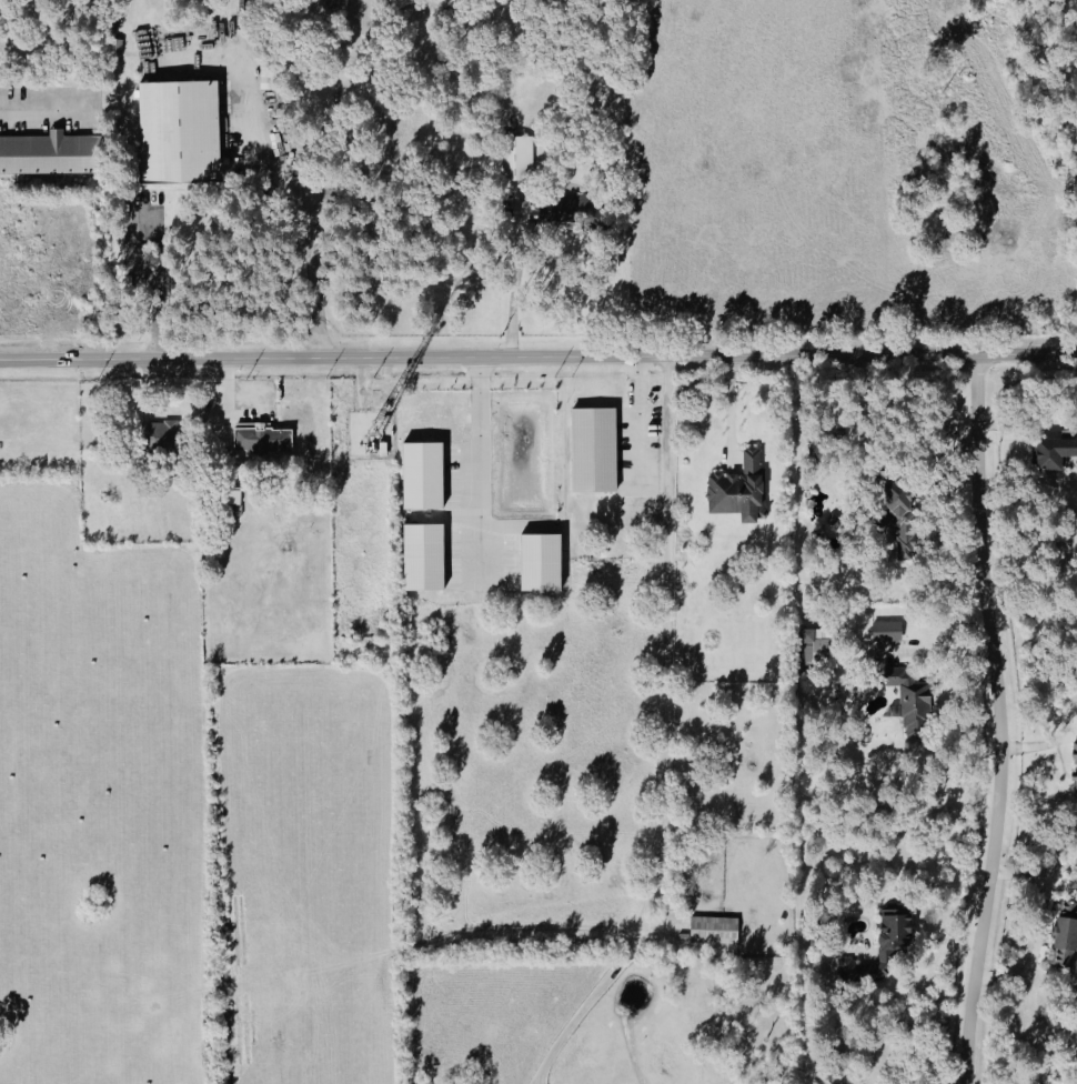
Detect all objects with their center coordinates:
road: (42, 109)
building: (180, 131)
building: (49, 153)
building: (580, 209)
road: (310, 230)
road: (134, 238)
road: (515, 280)
road: (537, 355)
road: (218, 397)
road: (728, 410)
road: (628, 419)
building: (162, 435)
building: (264, 439)
building: (595, 450)
building: (1055, 453)
road: (472, 470)
building: (424, 475)
building: (741, 489)
road: (925, 502)
building: (903, 514)
building: (542, 562)
building: (888, 631)
building: (816, 645)
building: (910, 701)
road: (1000, 720)
road: (667, 735)
building: (1076, 770)
crop: (184, 831)
building: (715, 930)
building: (1067, 935)
building: (894, 941)
building: (849, 967)

